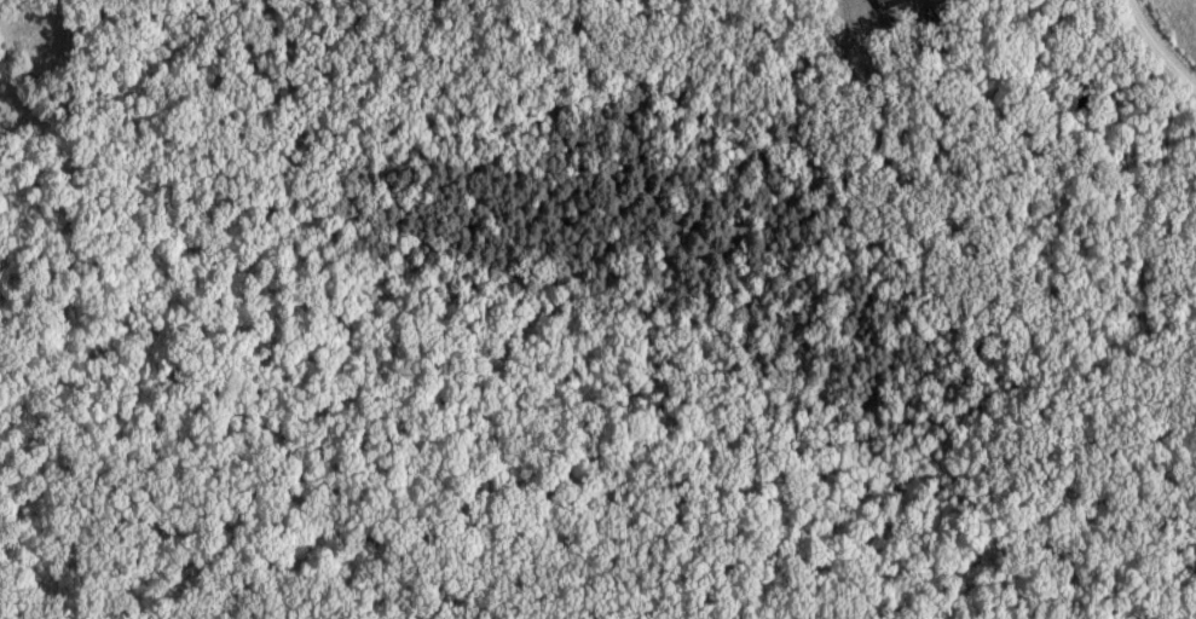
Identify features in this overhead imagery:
building: (924, 41)
road: (1161, 46)

